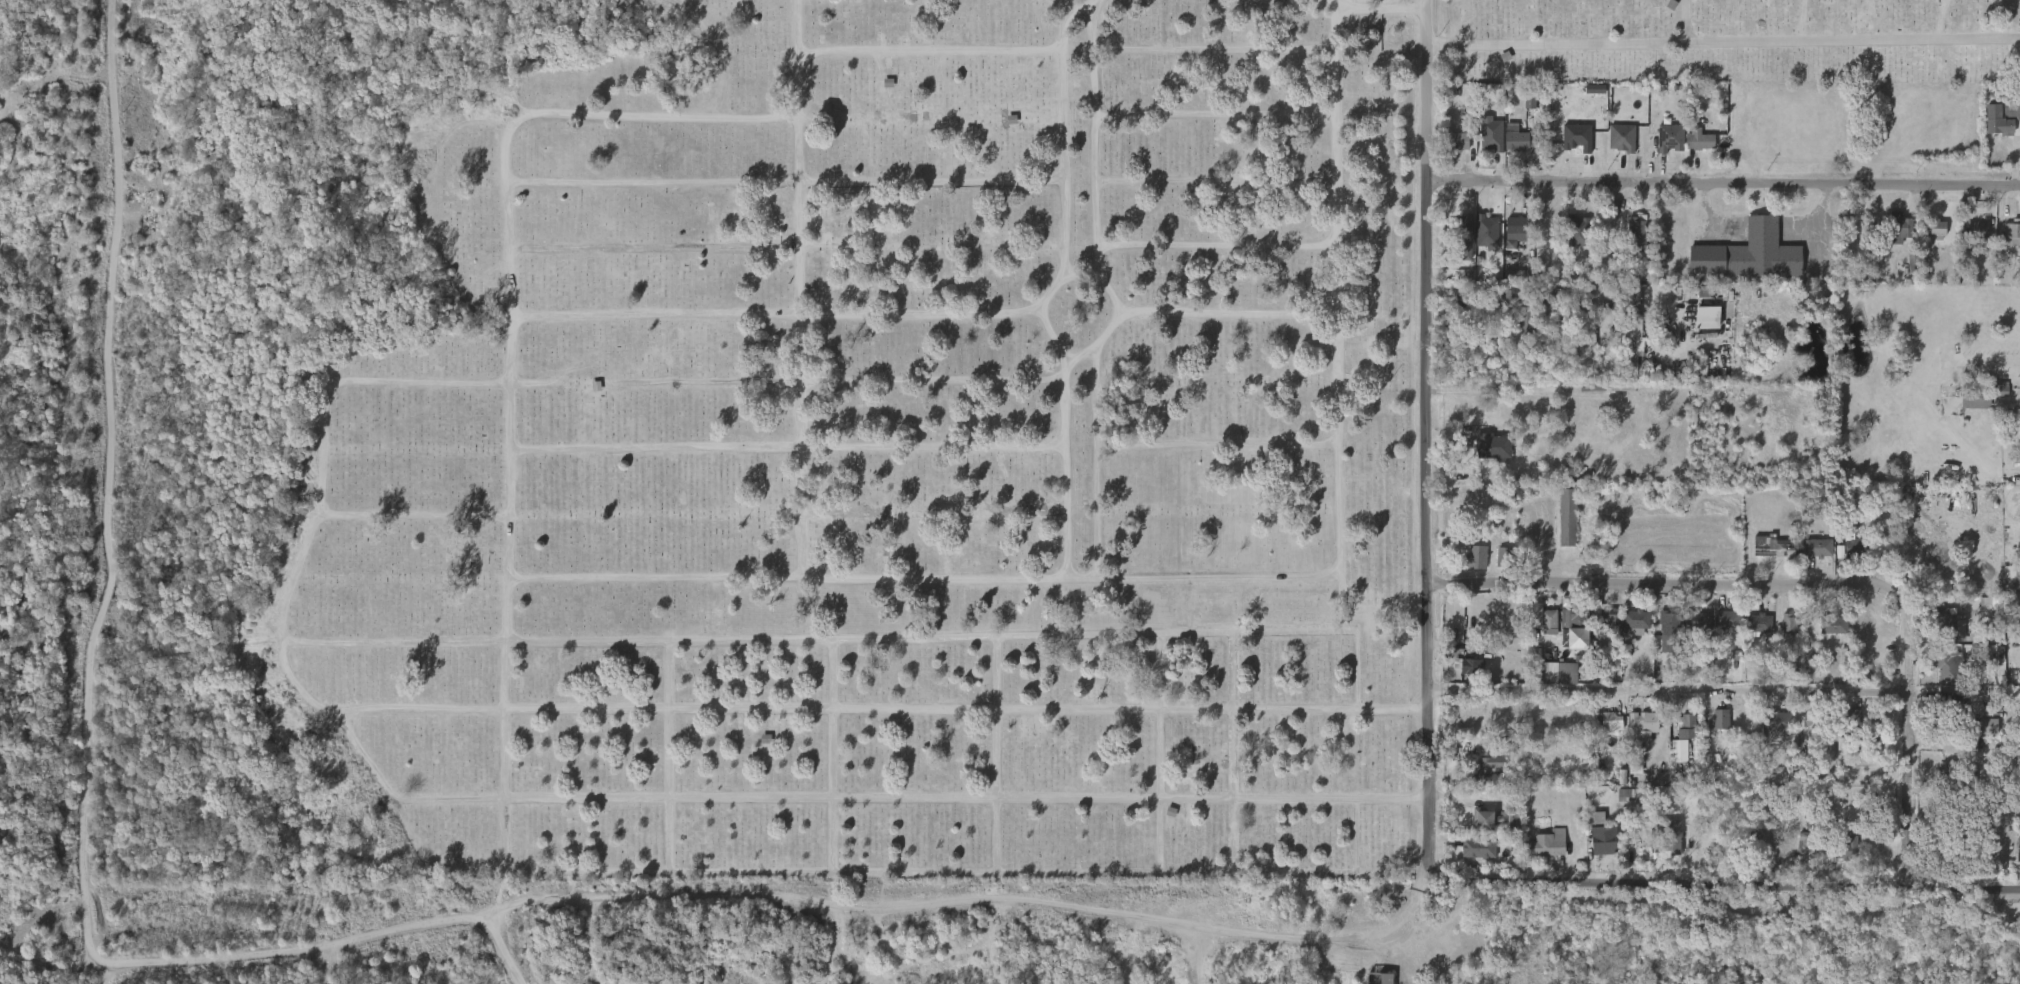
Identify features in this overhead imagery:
building: (1527, 99)
building: (1523, 110)
building: (1995, 111)
building: (1492, 135)
building: (1669, 137)
building: (1623, 138)
building: (1697, 139)
building: (1456, 141)
building: (1519, 141)
building: (1485, 144)
building: (1615, 146)
building: (1512, 149)
building: (1695, 149)
road: (1726, 189)
building: (1514, 225)
building: (1934, 227)
building: (1896, 228)
building: (1578, 230)
building: (1978, 230)
building: (1486, 232)
building: (2011, 233)
building: (1930, 238)
building: (1509, 240)
building: (1570, 240)
building: (1635, 242)
building: (1457, 245)
building: (1750, 253)
building: (1526, 302)
building: (1631, 320)
building: (1700, 325)
road: (1648, 327)
building: (1584, 350)
building: (1995, 396)
building: (1977, 397)
building: (1968, 409)
building: (2014, 418)
park: (802, 421)
road: (1431, 438)
building: (1491, 444)
building: (1486, 455)
building: (1567, 517)
building: (1852, 540)
building: (1775, 547)
building: (1819, 547)
building: (1847, 554)
building: (1811, 555)
building: (1475, 556)
building: (1469, 565)
building: (2012, 577)
road: (1651, 585)
building: (1576, 616)
building: (1606, 616)
building: (1634, 619)
building: (1727, 620)
building: (1550, 621)
building: (1667, 622)
building: (1756, 622)
building: (1697, 623)
building: (1943, 623)
building: (1603, 624)
building: (1832, 625)
building: (1537, 627)
building: (1629, 628)
building: (1751, 630)
building: (1782, 631)
building: (1946, 666)
building: (1572, 669)
building: (1939, 675)
building: (1464, 678)
road: (1669, 704)
building: (1950, 712)
building: (1643, 720)
building: (1776, 721)
building: (1609, 722)
road: (1907, 725)
building: (1714, 727)
road: (85, 728)
building: (1605, 730)
building: (1770, 730)
building: (1636, 734)
building: (1870, 734)
building: (1981, 734)
building: (1676, 746)
road: (668, 764)
building: (1486, 768)
building: (1497, 820)
building: (1483, 827)
building: (1671, 835)
building: (1603, 841)
building: (1546, 843)
building: (1808, 843)
building: (1477, 847)
building: (1843, 848)
building: (1596, 849)
building: (1472, 856)
road: (764, 885)
road: (1721, 886)
road: (1407, 913)
road: (493, 953)
building: (1379, 978)

